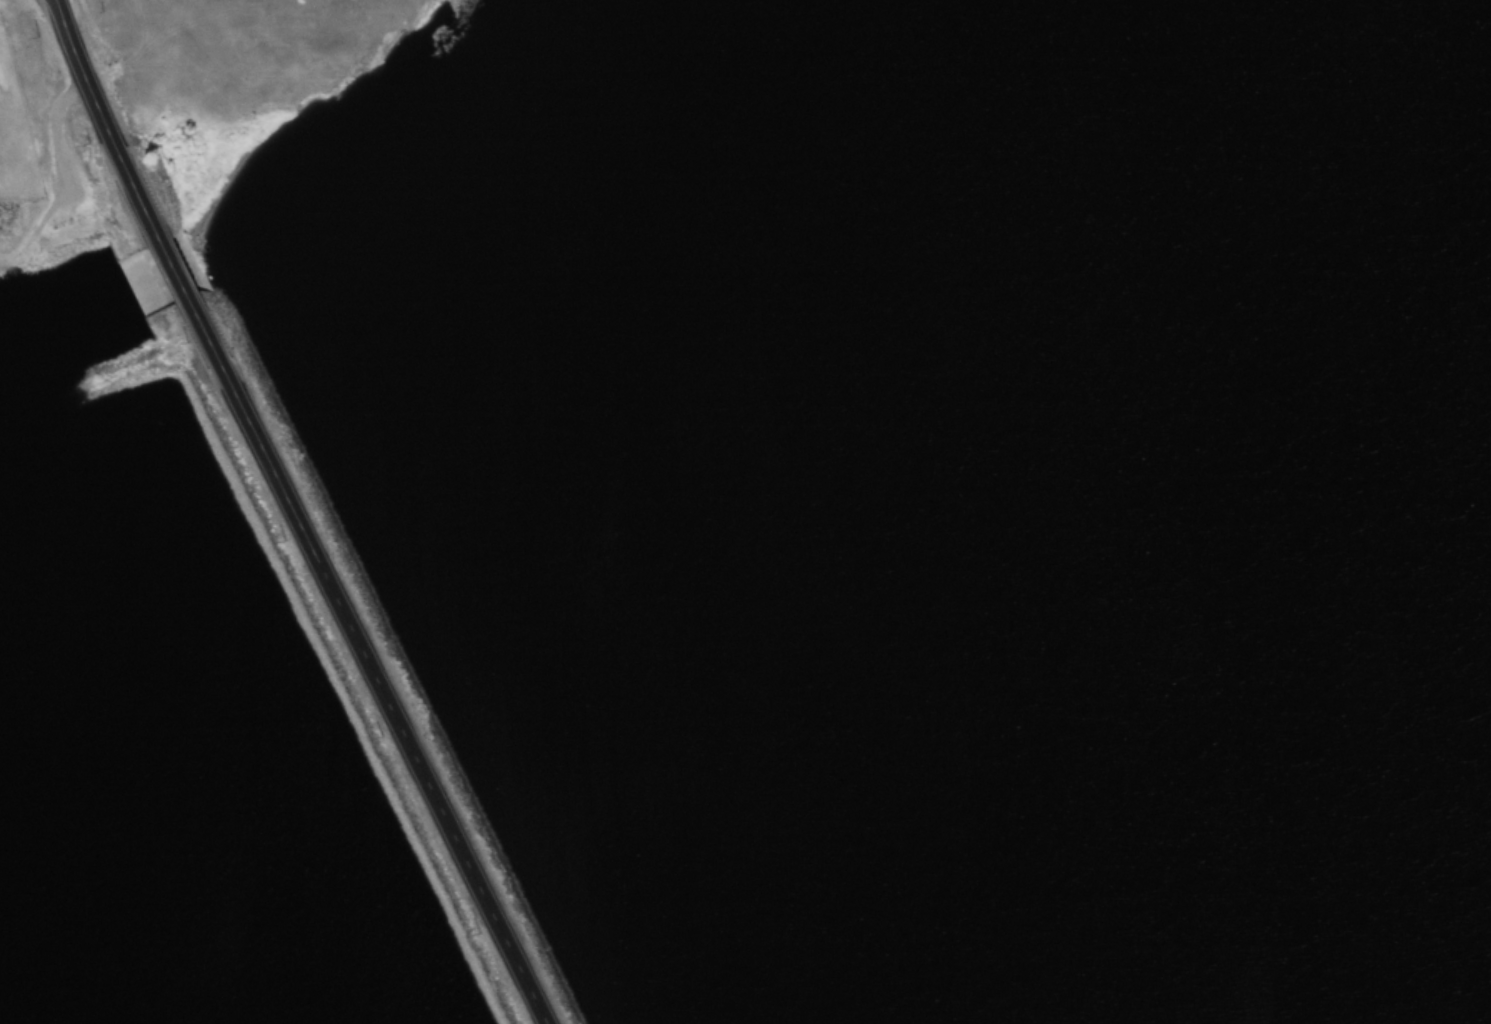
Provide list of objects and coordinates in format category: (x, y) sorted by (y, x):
road: (97, 113)
road: (176, 274)
road: (374, 674)

